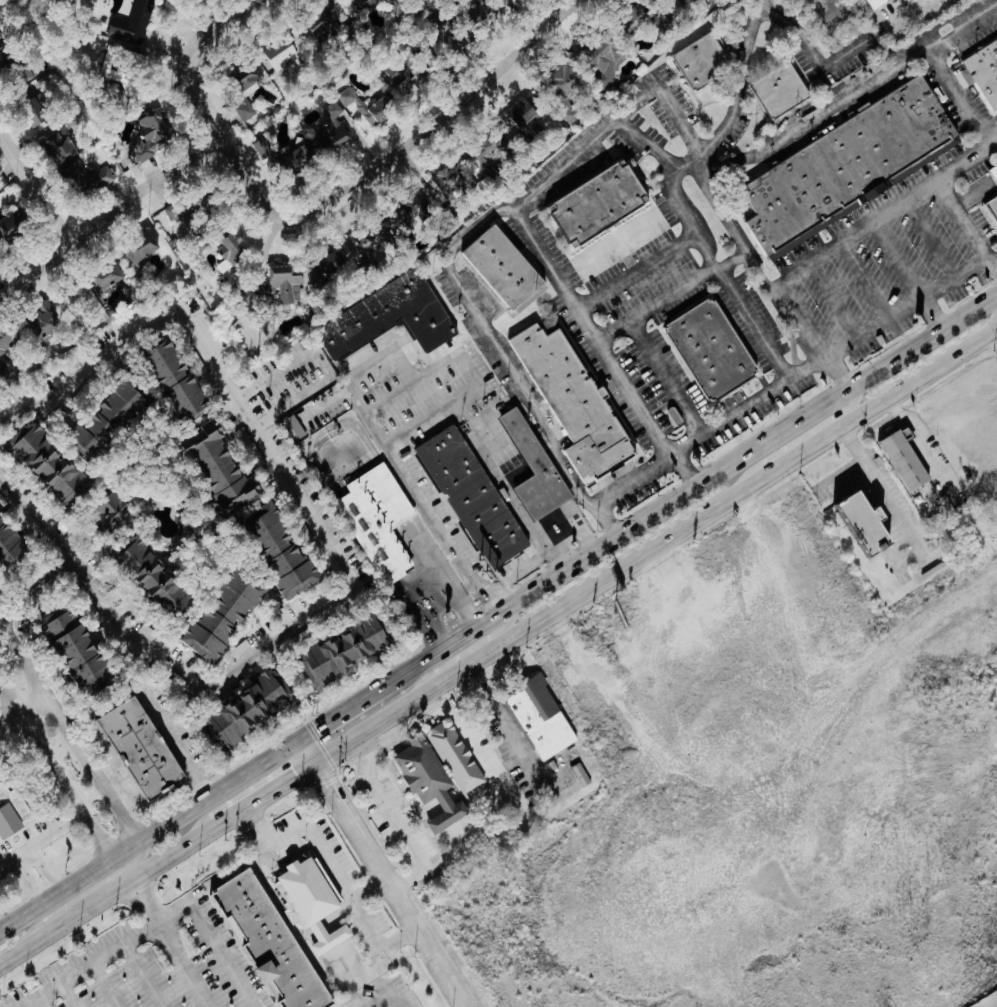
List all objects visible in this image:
building: (719, 0)
building: (364, 2)
building: (879, 4)
road: (760, 5)
building: (401, 8)
road: (908, 13)
building: (4, 15)
building: (140, 17)
building: (2, 41)
road: (866, 44)
building: (280, 54)
road: (186, 55)
building: (609, 60)
building: (702, 61)
building: (407, 71)
building: (111, 72)
building: (983, 73)
building: (248, 77)
building: (567, 78)
building: (782, 91)
road: (663, 94)
road: (956, 100)
building: (37, 101)
building: (368, 107)
building: (245, 110)
building: (527, 113)
road: (437, 123)
road: (809, 124)
building: (334, 129)
building: (152, 136)
road: (996, 143)
building: (496, 147)
building: (263, 149)
building: (299, 160)
building: (849, 167)
road: (556, 173)
building: (993, 173)
road: (247, 179)
building: (454, 180)
road: (35, 190)
road: (946, 190)
road: (676, 197)
building: (601, 205)
road: (720, 206)
building: (991, 209)
building: (175, 210)
road: (111, 215)
building: (12, 226)
road: (932, 240)
building: (142, 248)
building: (232, 252)
road: (820, 259)
road: (993, 259)
road: (901, 261)
building: (331, 267)
building: (507, 269)
road: (693, 281)
road: (865, 283)
building: (115, 286)
road: (835, 302)
road: (935, 313)
road: (899, 315)
building: (391, 318)
road: (588, 320)
building: (45, 321)
road: (995, 321)
road: (996, 331)
building: (9, 339)
road: (497, 345)
building: (713, 350)
road: (276, 372)
road: (665, 378)
building: (181, 382)
road: (292, 401)
building: (576, 404)
road: (730, 416)
building: (114, 420)
road: (427, 423)
building: (294, 428)
road: (796, 440)
road: (921, 445)
building: (909, 463)
building: (53, 467)
building: (535, 469)
building: (224, 470)
road: (696, 486)
road: (615, 488)
road: (299, 494)
road: (885, 494)
building: (473, 496)
road: (425, 501)
road: (27, 508)
road: (516, 508)
building: (115, 517)
building: (380, 521)
building: (871, 524)
building: (10, 545)
road: (656, 545)
building: (284, 550)
road: (73, 554)
road: (62, 566)
building: (159, 576)
road: (44, 582)
building: (228, 613)
road: (704, 628)
building: (152, 635)
building: (81, 649)
building: (348, 650)
road: (464, 650)
road: (23, 707)
road: (348, 707)
road: (501, 714)
building: (542, 717)
road: (465, 724)
traffic signals: (316, 728)
road: (70, 730)
road: (780, 737)
road: (89, 738)
road: (766, 745)
road: (178, 746)
building: (144, 747)
road: (106, 766)
road: (55, 771)
building: (441, 771)
traffic signals: (296, 774)
traffic signals: (328, 780)
road: (266, 792)
road: (127, 799)
road: (742, 805)
building: (12, 811)
road: (245, 811)
road: (390, 814)
road: (246, 819)
road: (259, 825)
road: (249, 831)
road: (150, 833)
road: (40, 837)
road: (258, 839)
road: (957, 841)
road: (267, 845)
road: (331, 865)
road: (389, 870)
road: (37, 872)
road: (84, 892)
road: (108, 893)
building: (316, 901)
road: (211, 939)
building: (272, 941)
road: (167, 944)
road: (377, 945)
road: (918, 956)
road: (87, 964)
road: (139, 975)
parking lot: (127, 978)
road: (99, 986)
road: (67, 994)
road: (385, 998)
road: (992, 1003)

